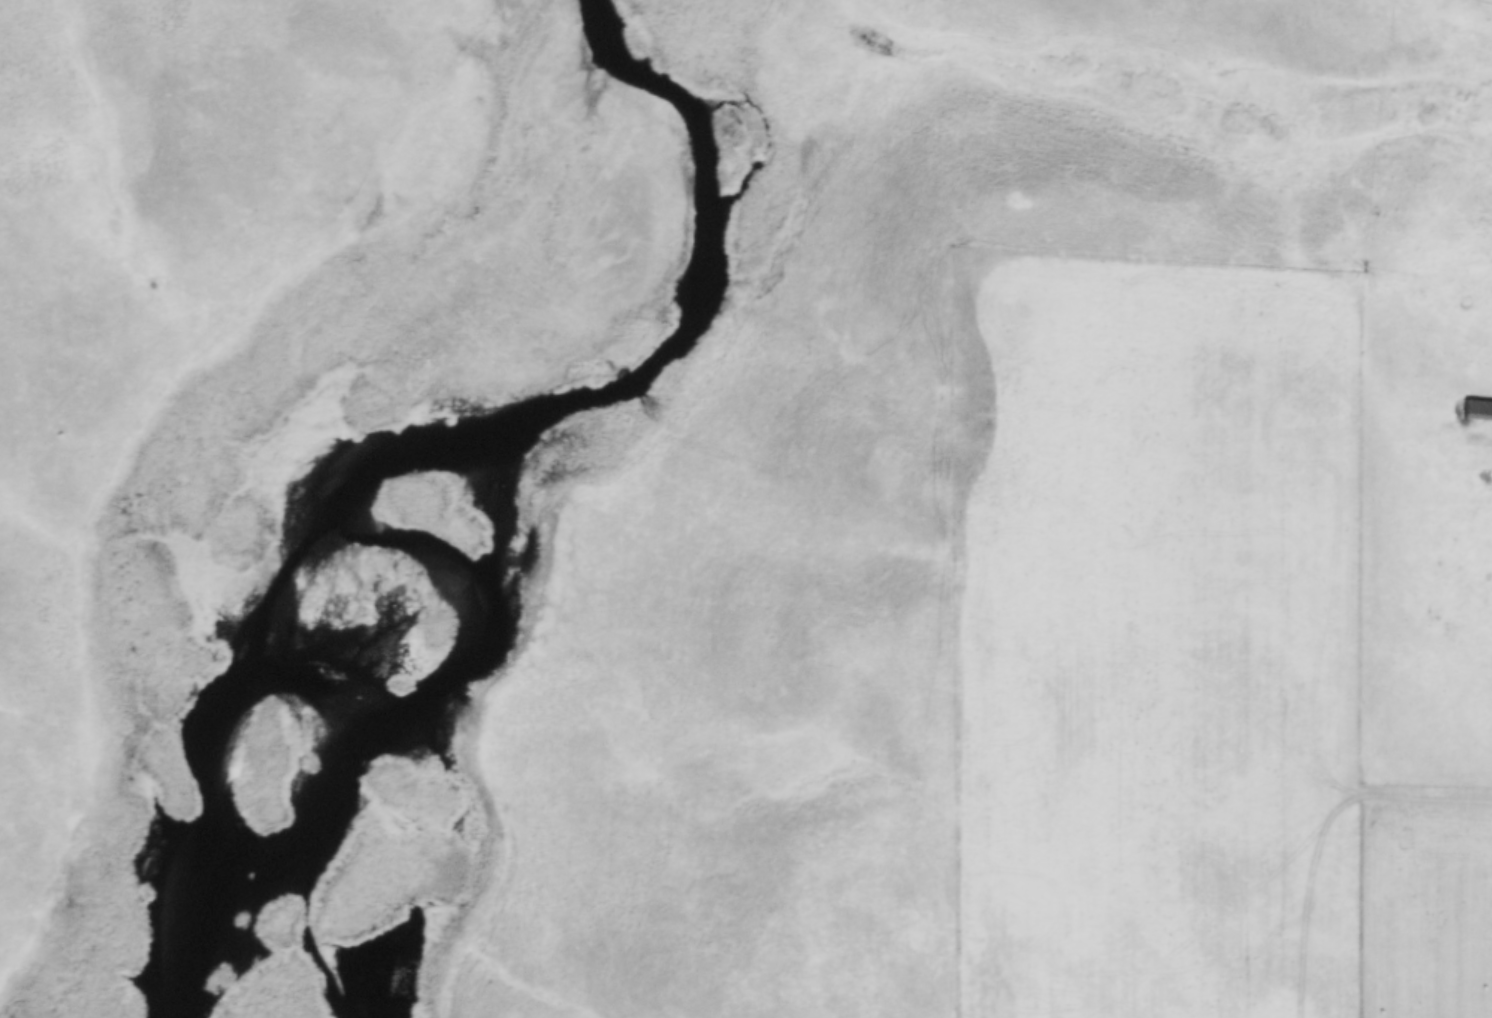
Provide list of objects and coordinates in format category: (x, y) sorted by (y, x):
building: (1478, 409)

